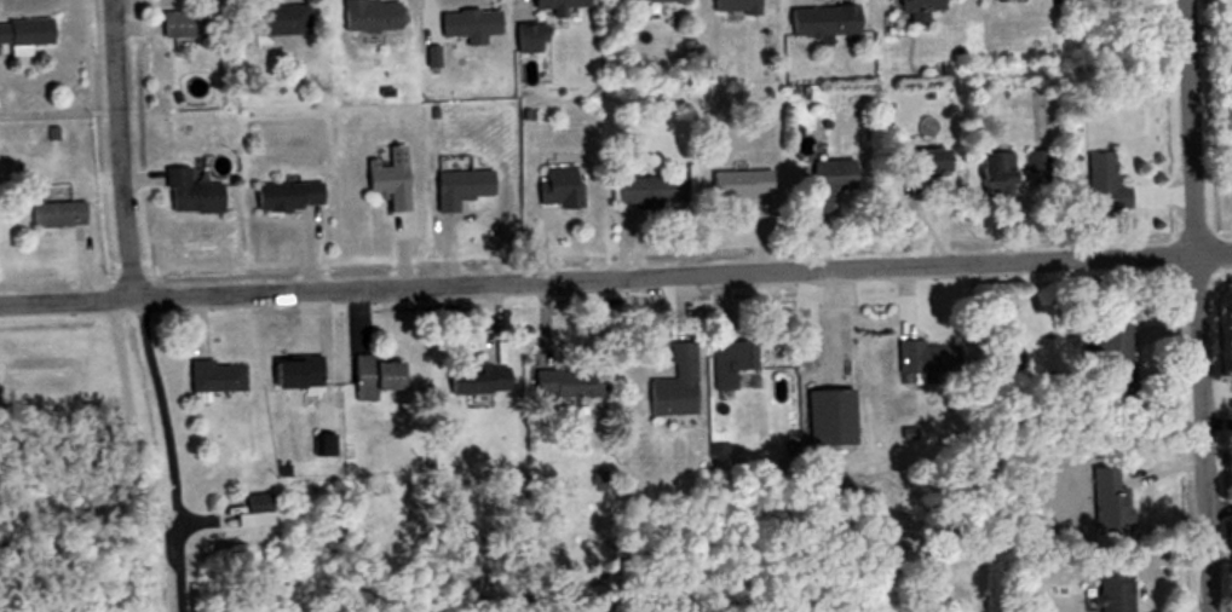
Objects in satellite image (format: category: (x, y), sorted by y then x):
building: (651, 1)
building: (553, 6)
building: (731, 7)
building: (915, 8)
building: (367, 17)
building: (278, 19)
building: (821, 22)
building: (182, 24)
building: (466, 25)
building: (24, 33)
building: (525, 39)
road: (115, 151)
building: (992, 174)
building: (386, 179)
building: (739, 185)
building: (825, 185)
building: (1105, 186)
building: (557, 187)
building: (459, 189)
building: (647, 194)
building: (189, 195)
building: (287, 201)
building: (54, 214)
road: (616, 282)
road: (1191, 306)
building: (1109, 346)
building: (923, 359)
building: (729, 364)
building: (293, 373)
building: (372, 376)
building: (212, 377)
building: (473, 379)
building: (670, 383)
building: (566, 385)
building: (828, 418)
road: (156, 456)
road: (125, 457)
building: (248, 519)
building: (1111, 589)

